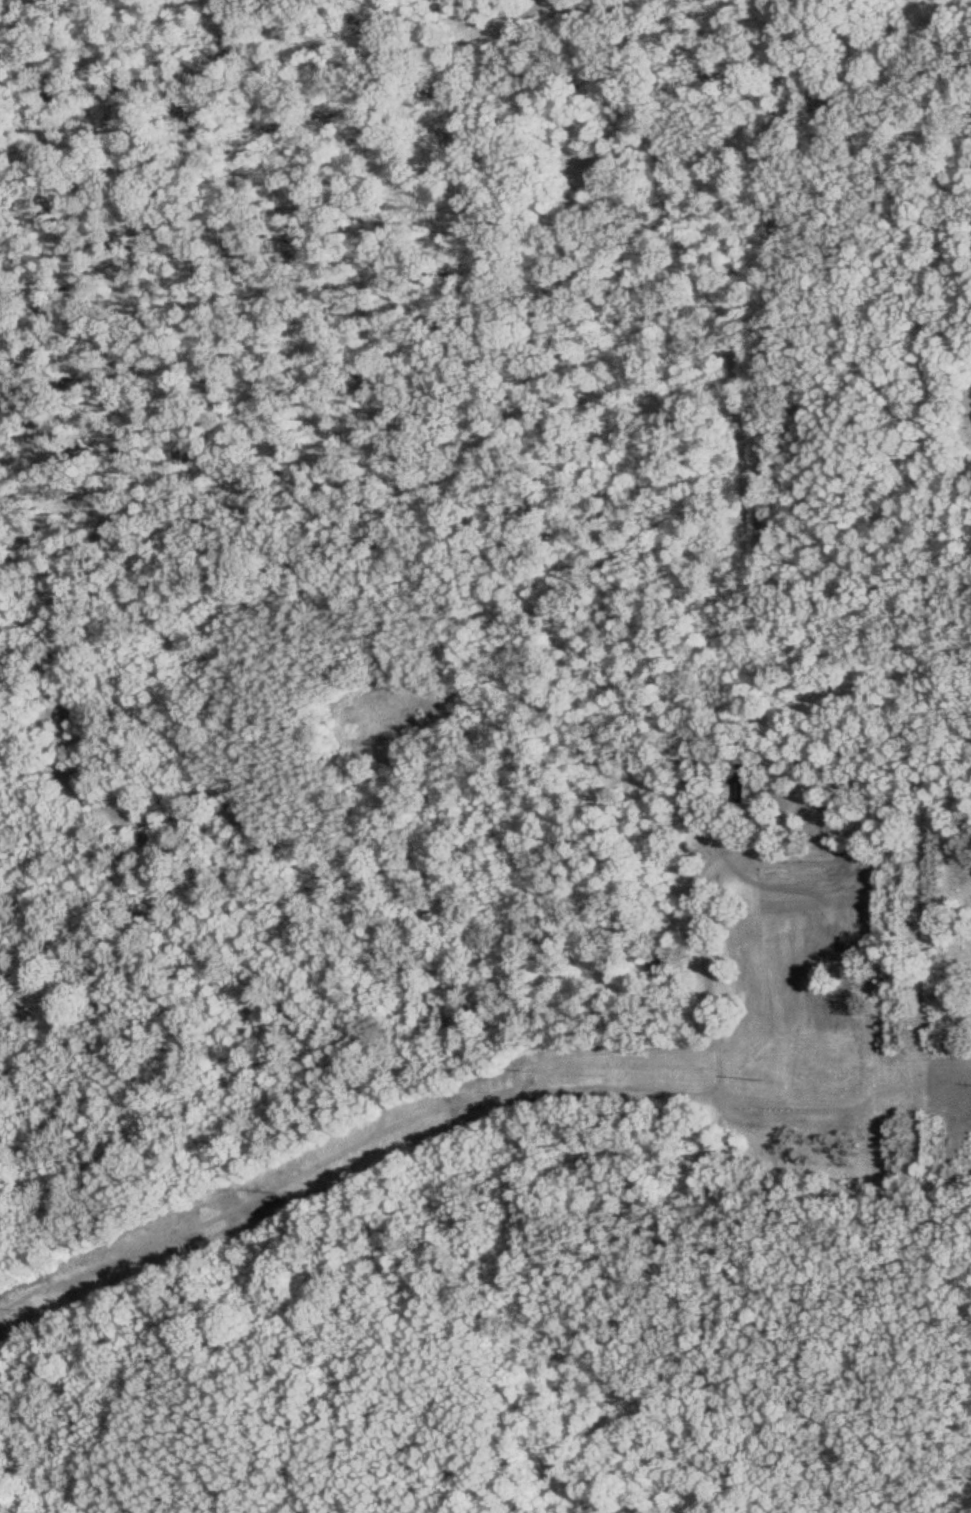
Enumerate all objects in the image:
building: (750, 785)

